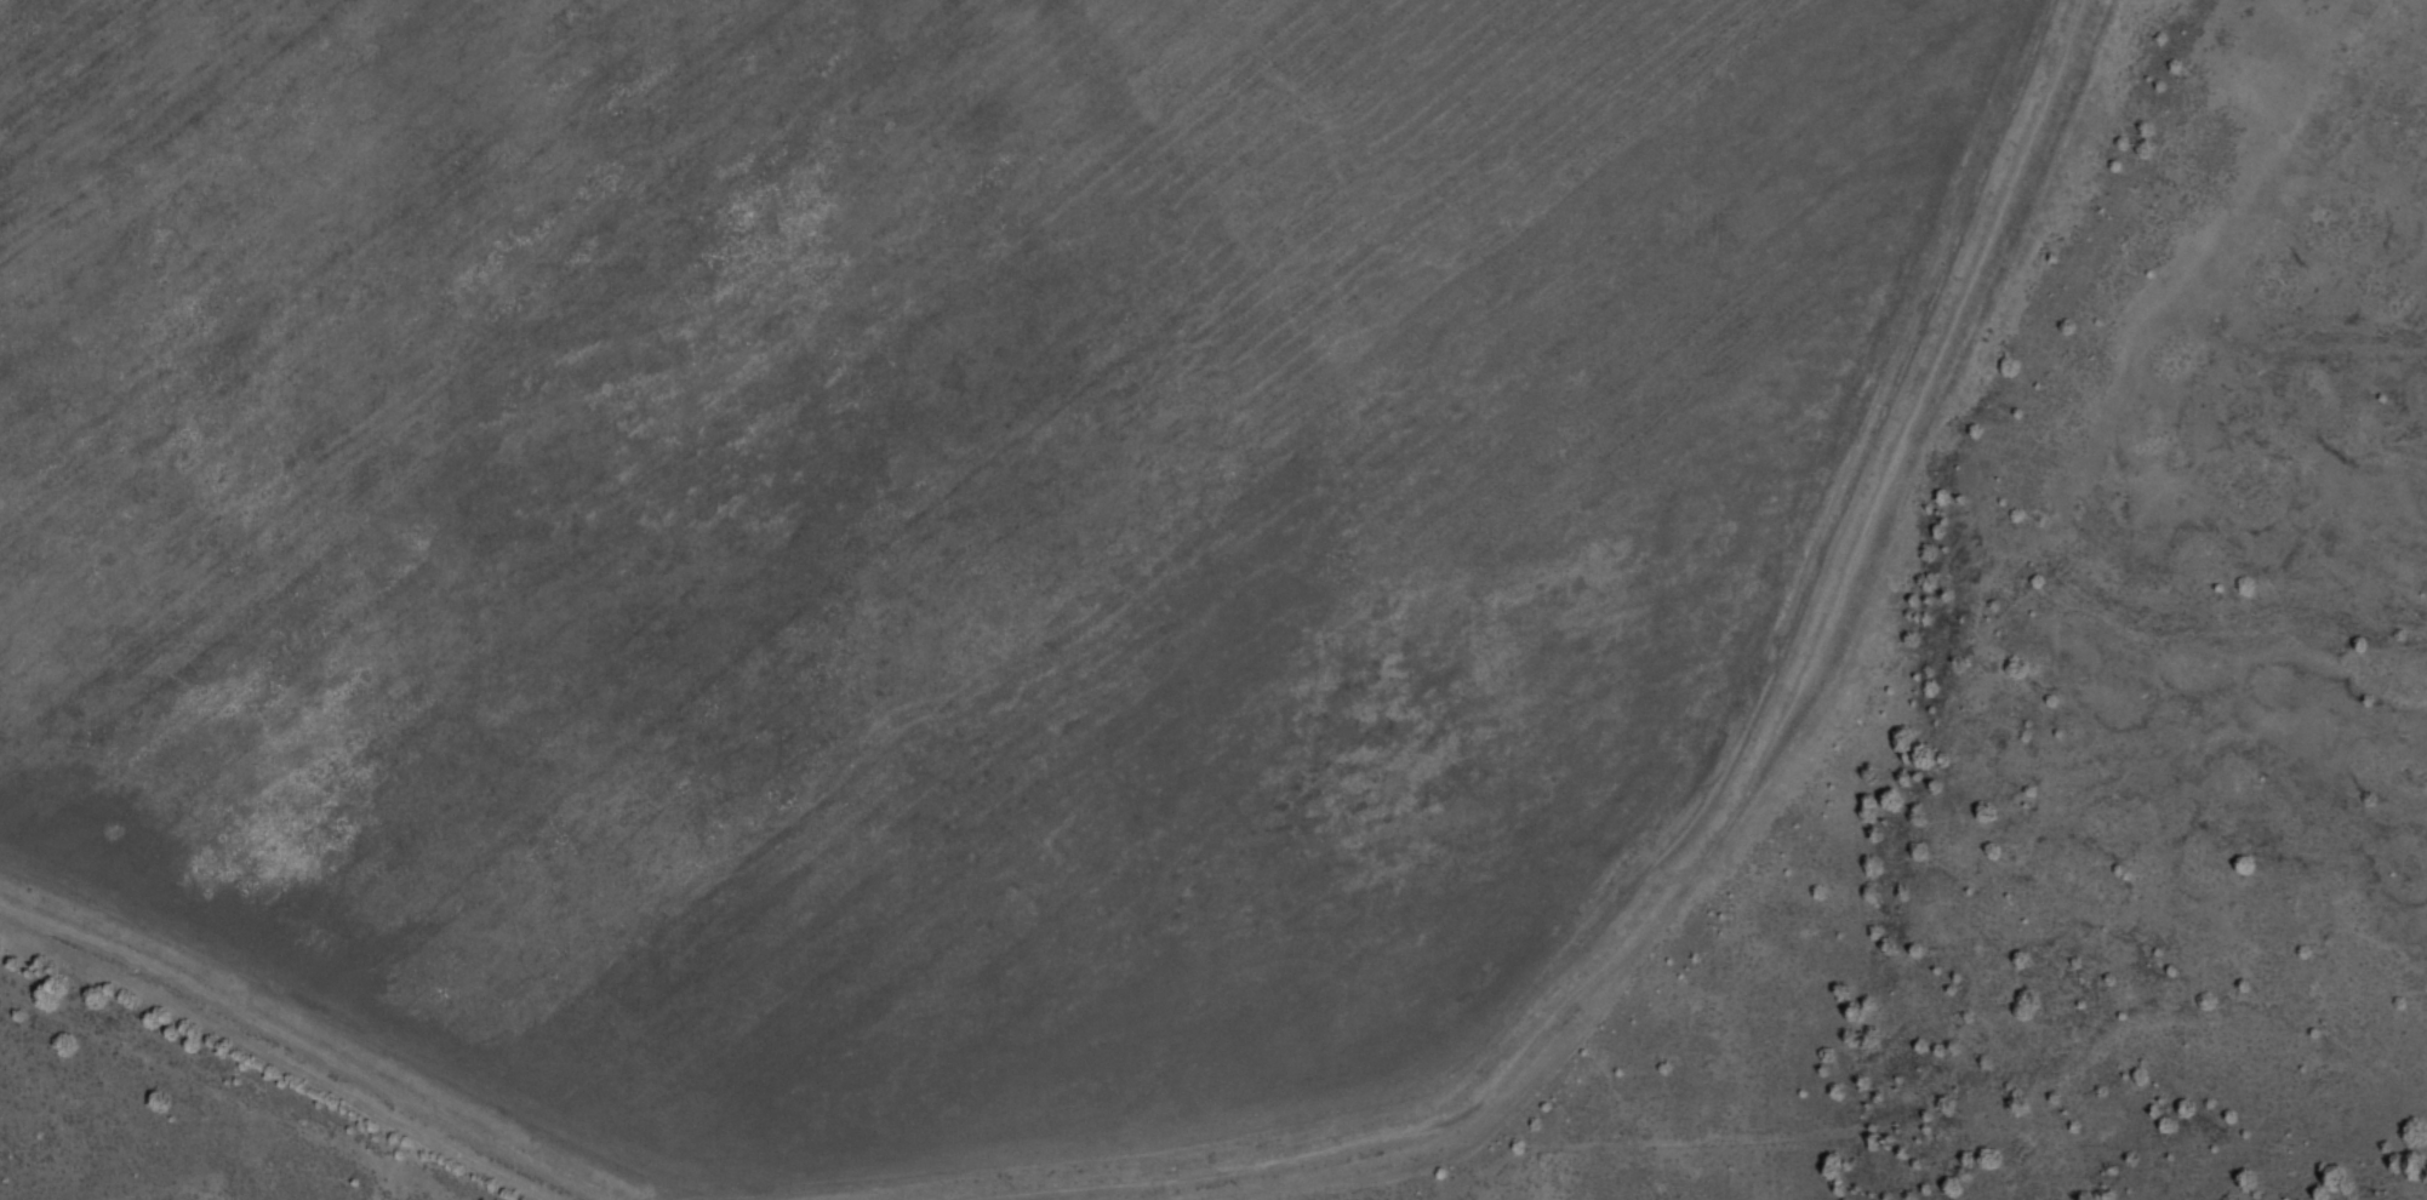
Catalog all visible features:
crop: (1411, 128)
crop: (547, 453)
crop: (1318, 703)

